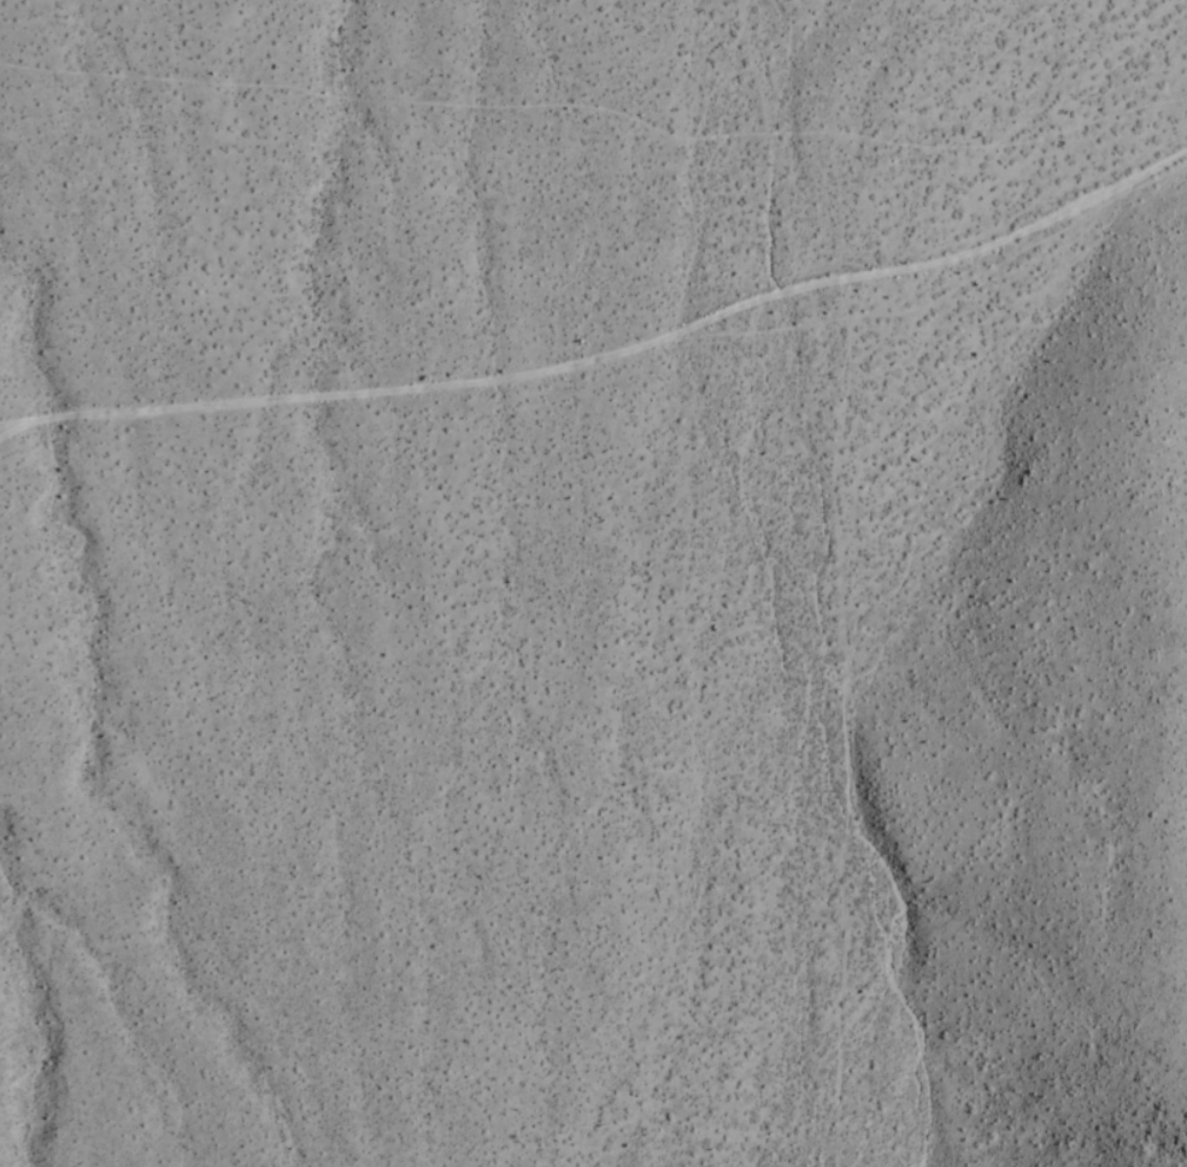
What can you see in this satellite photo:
road: (603, 372)
road: (10, 430)

